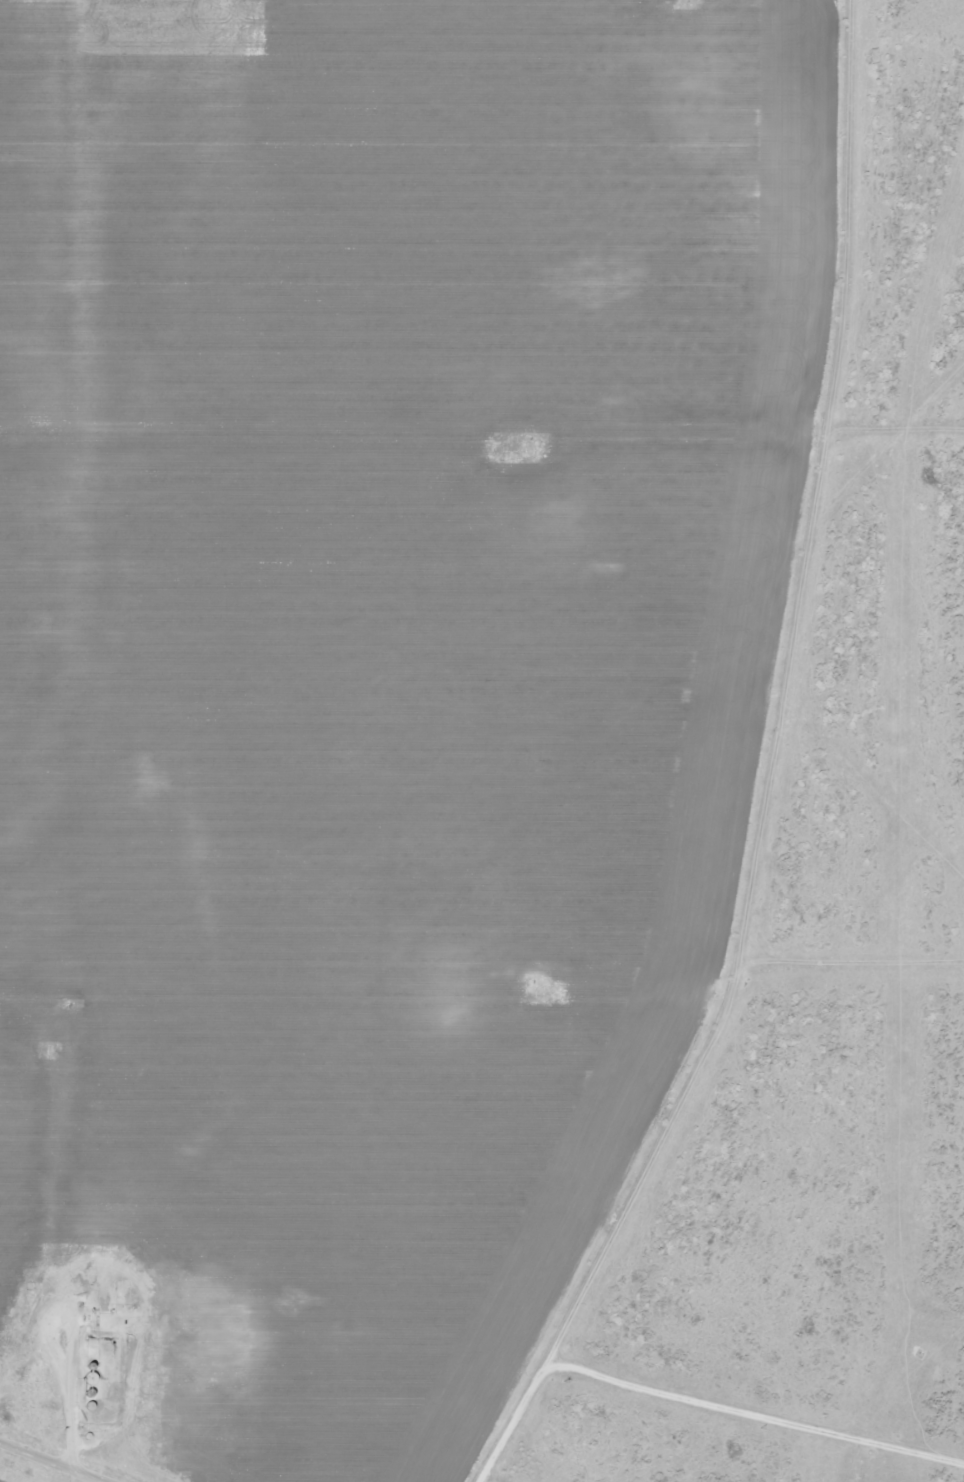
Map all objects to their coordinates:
road: (766, 773)
building: (91, 1386)
road: (52, 1462)

